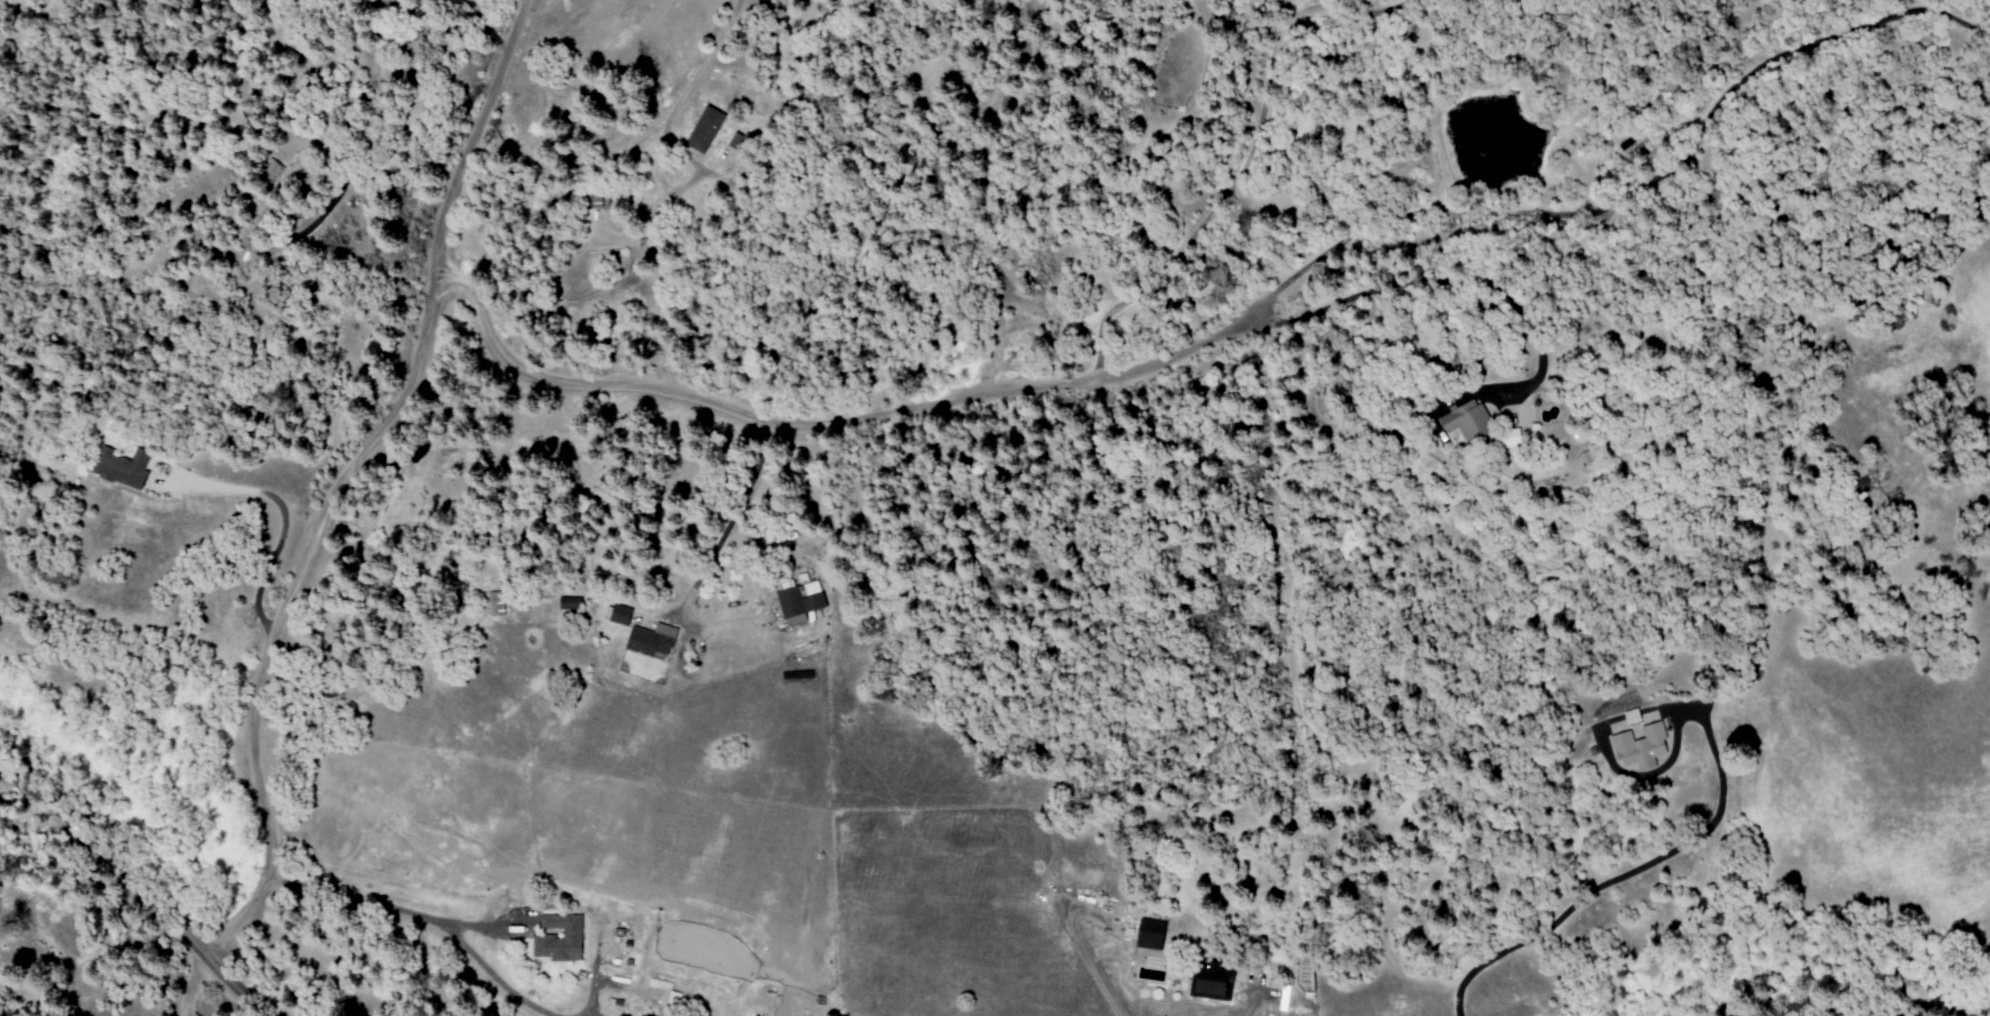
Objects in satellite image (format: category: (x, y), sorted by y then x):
building: (704, 130)
building: (736, 140)
road: (1666, 174)
road: (858, 419)
building: (1466, 421)
building: (1510, 440)
building: (120, 468)
road: (336, 478)
road: (281, 515)
building: (569, 603)
building: (798, 603)
building: (495, 604)
building: (619, 615)
building: (650, 641)
building: (1631, 717)
building: (1640, 748)
road: (136, 890)
road: (389, 912)
building: (1149, 935)
building: (558, 939)
building: (1210, 983)
building: (659, 985)
road: (193, 988)
building: (672, 1002)

